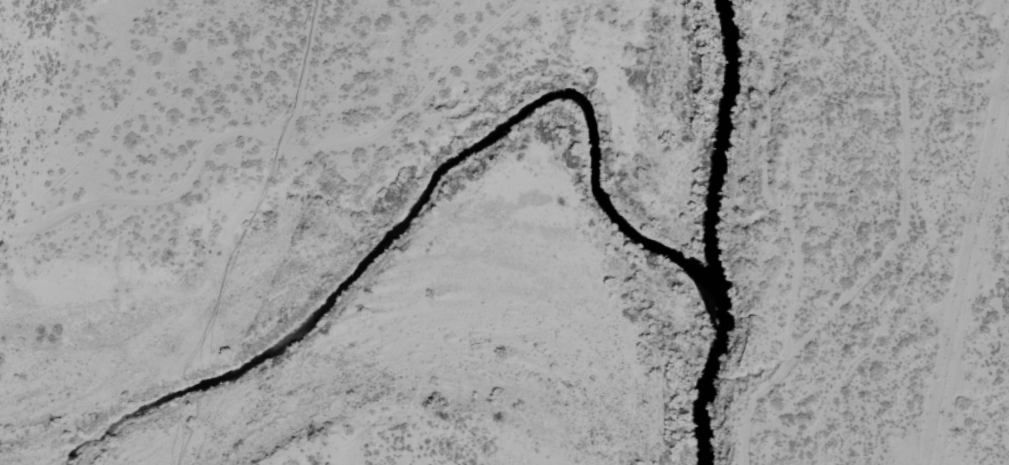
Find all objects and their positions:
river: (709, 234)

